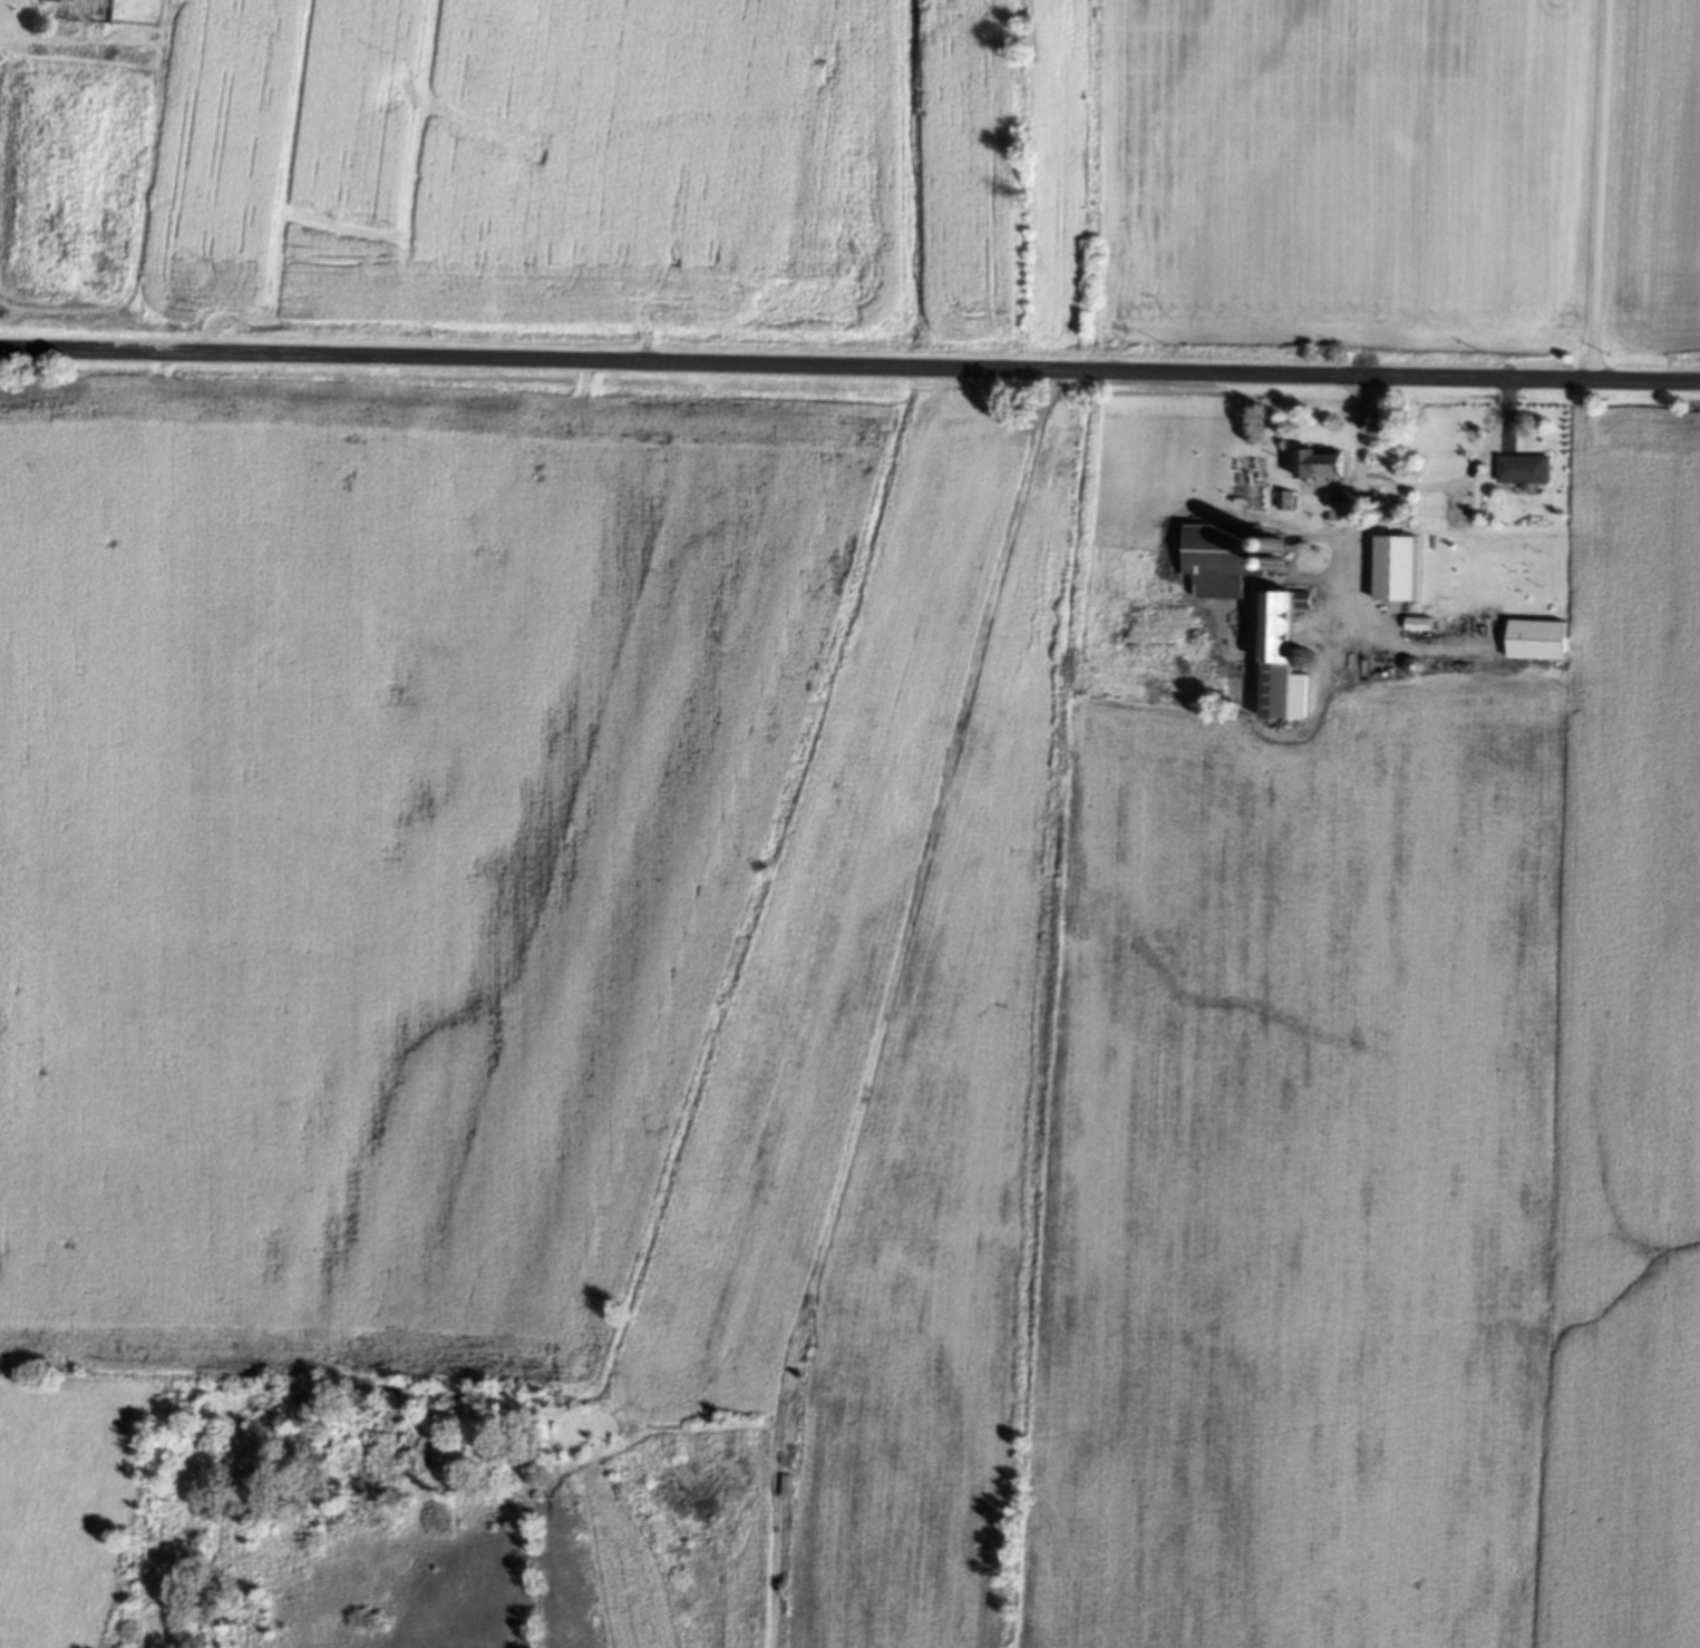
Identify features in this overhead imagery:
building: (54, 10)
road: (1600, 191)
road: (849, 368)
building: (1381, 421)
building: (1317, 465)
building: (1522, 470)
road: (1467, 478)
road: (1356, 501)
building: (1227, 558)
building: (1392, 571)
building: (1474, 623)
building: (1535, 642)
building: (1280, 660)

